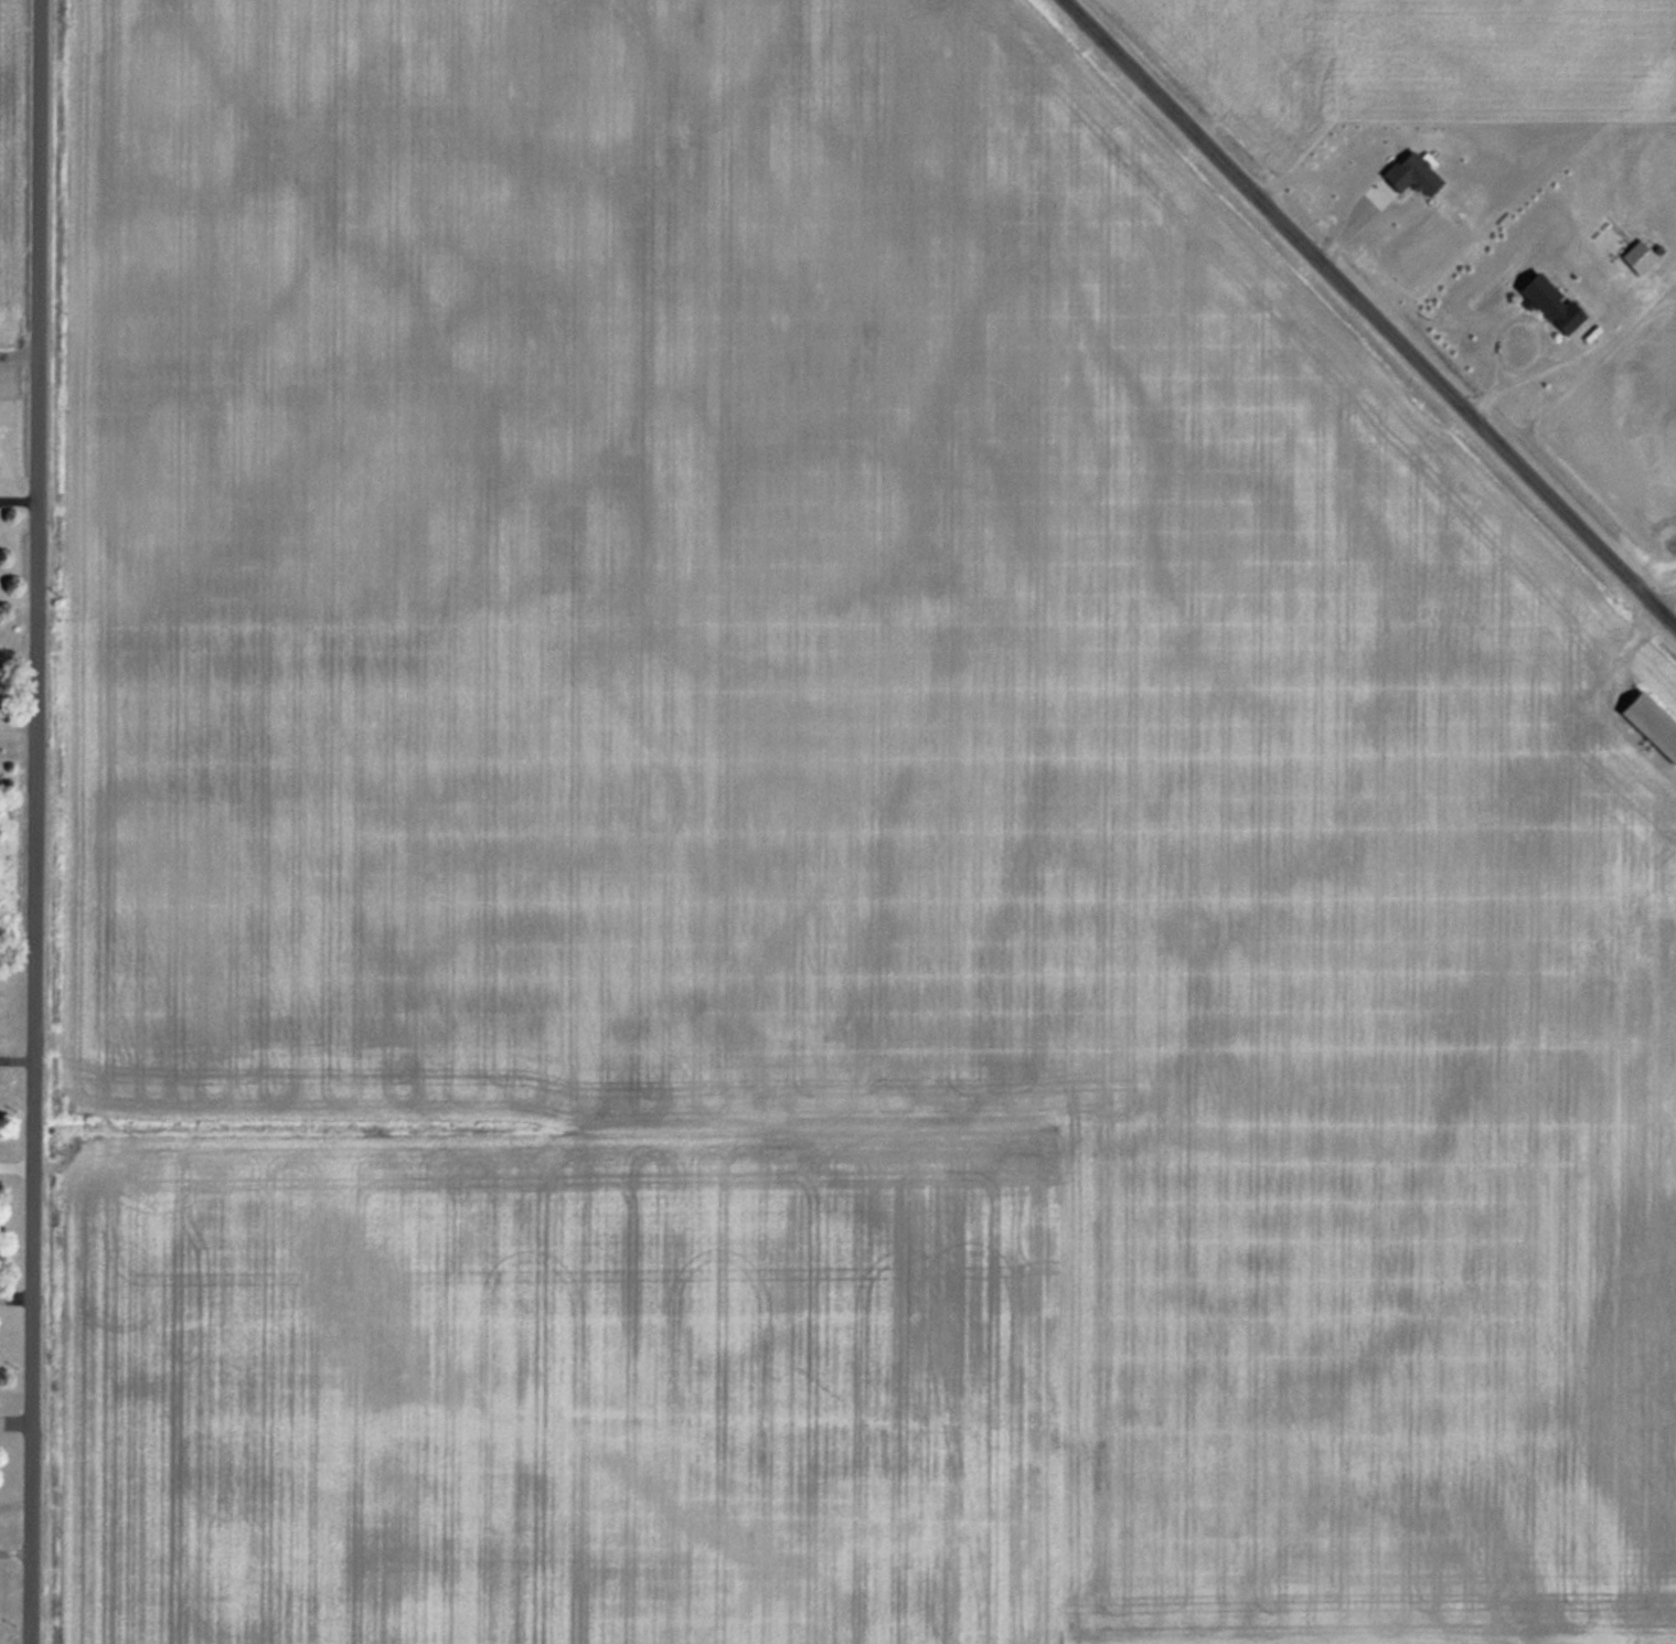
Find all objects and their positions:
building: (1546, 301)
road: (1374, 310)
road: (1537, 333)
road: (19, 497)
road: (1664, 593)
building: (1648, 725)
road: (35, 821)

